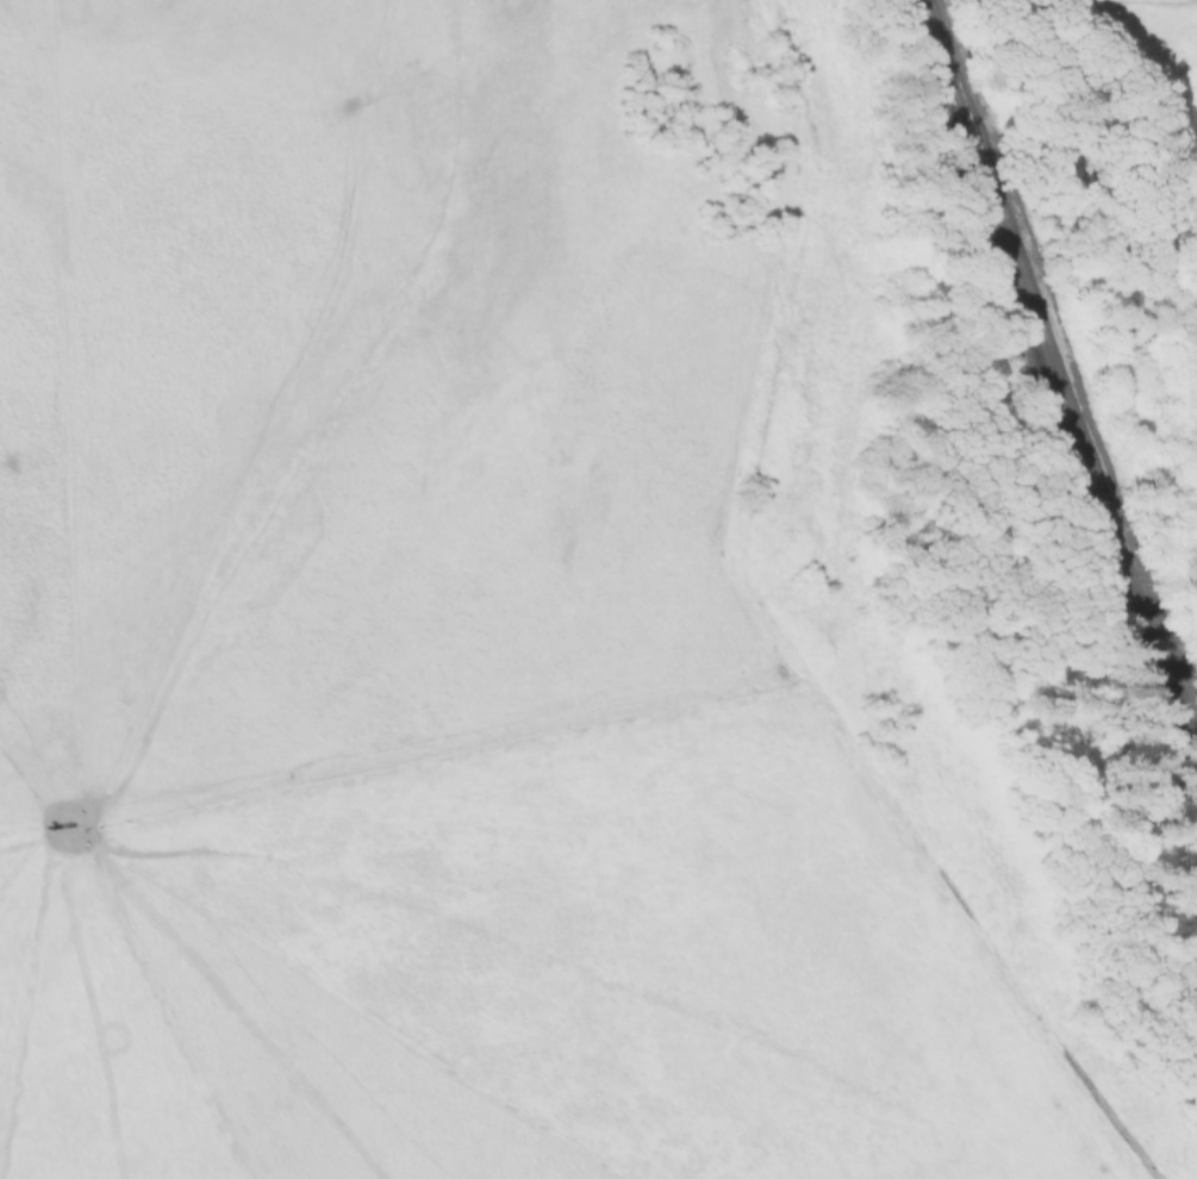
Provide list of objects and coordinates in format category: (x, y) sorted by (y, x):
railway: (1054, 368)
railway: (1042, 383)

